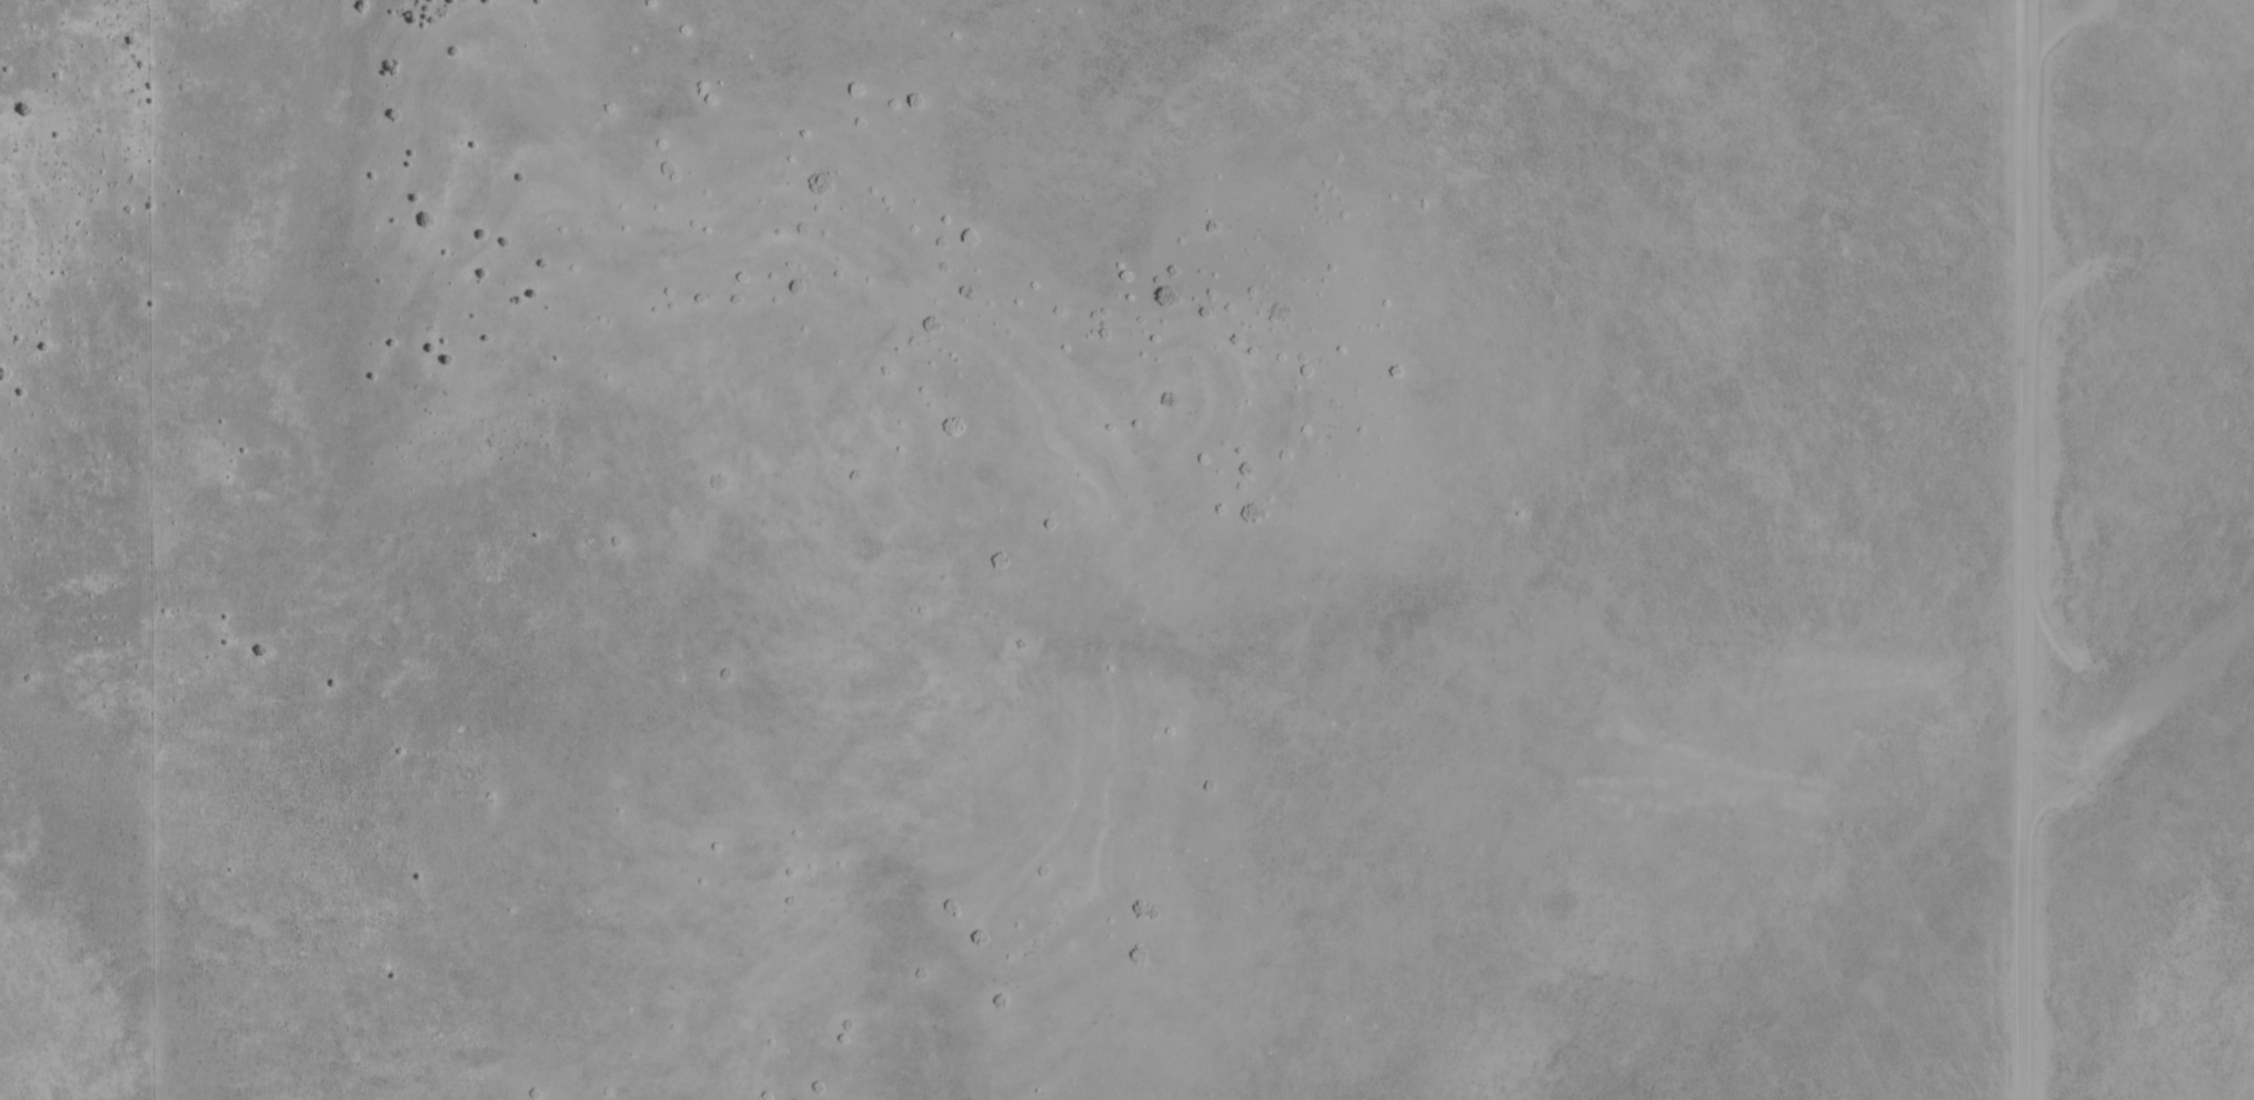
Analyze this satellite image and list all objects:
road: (2004, 550)

